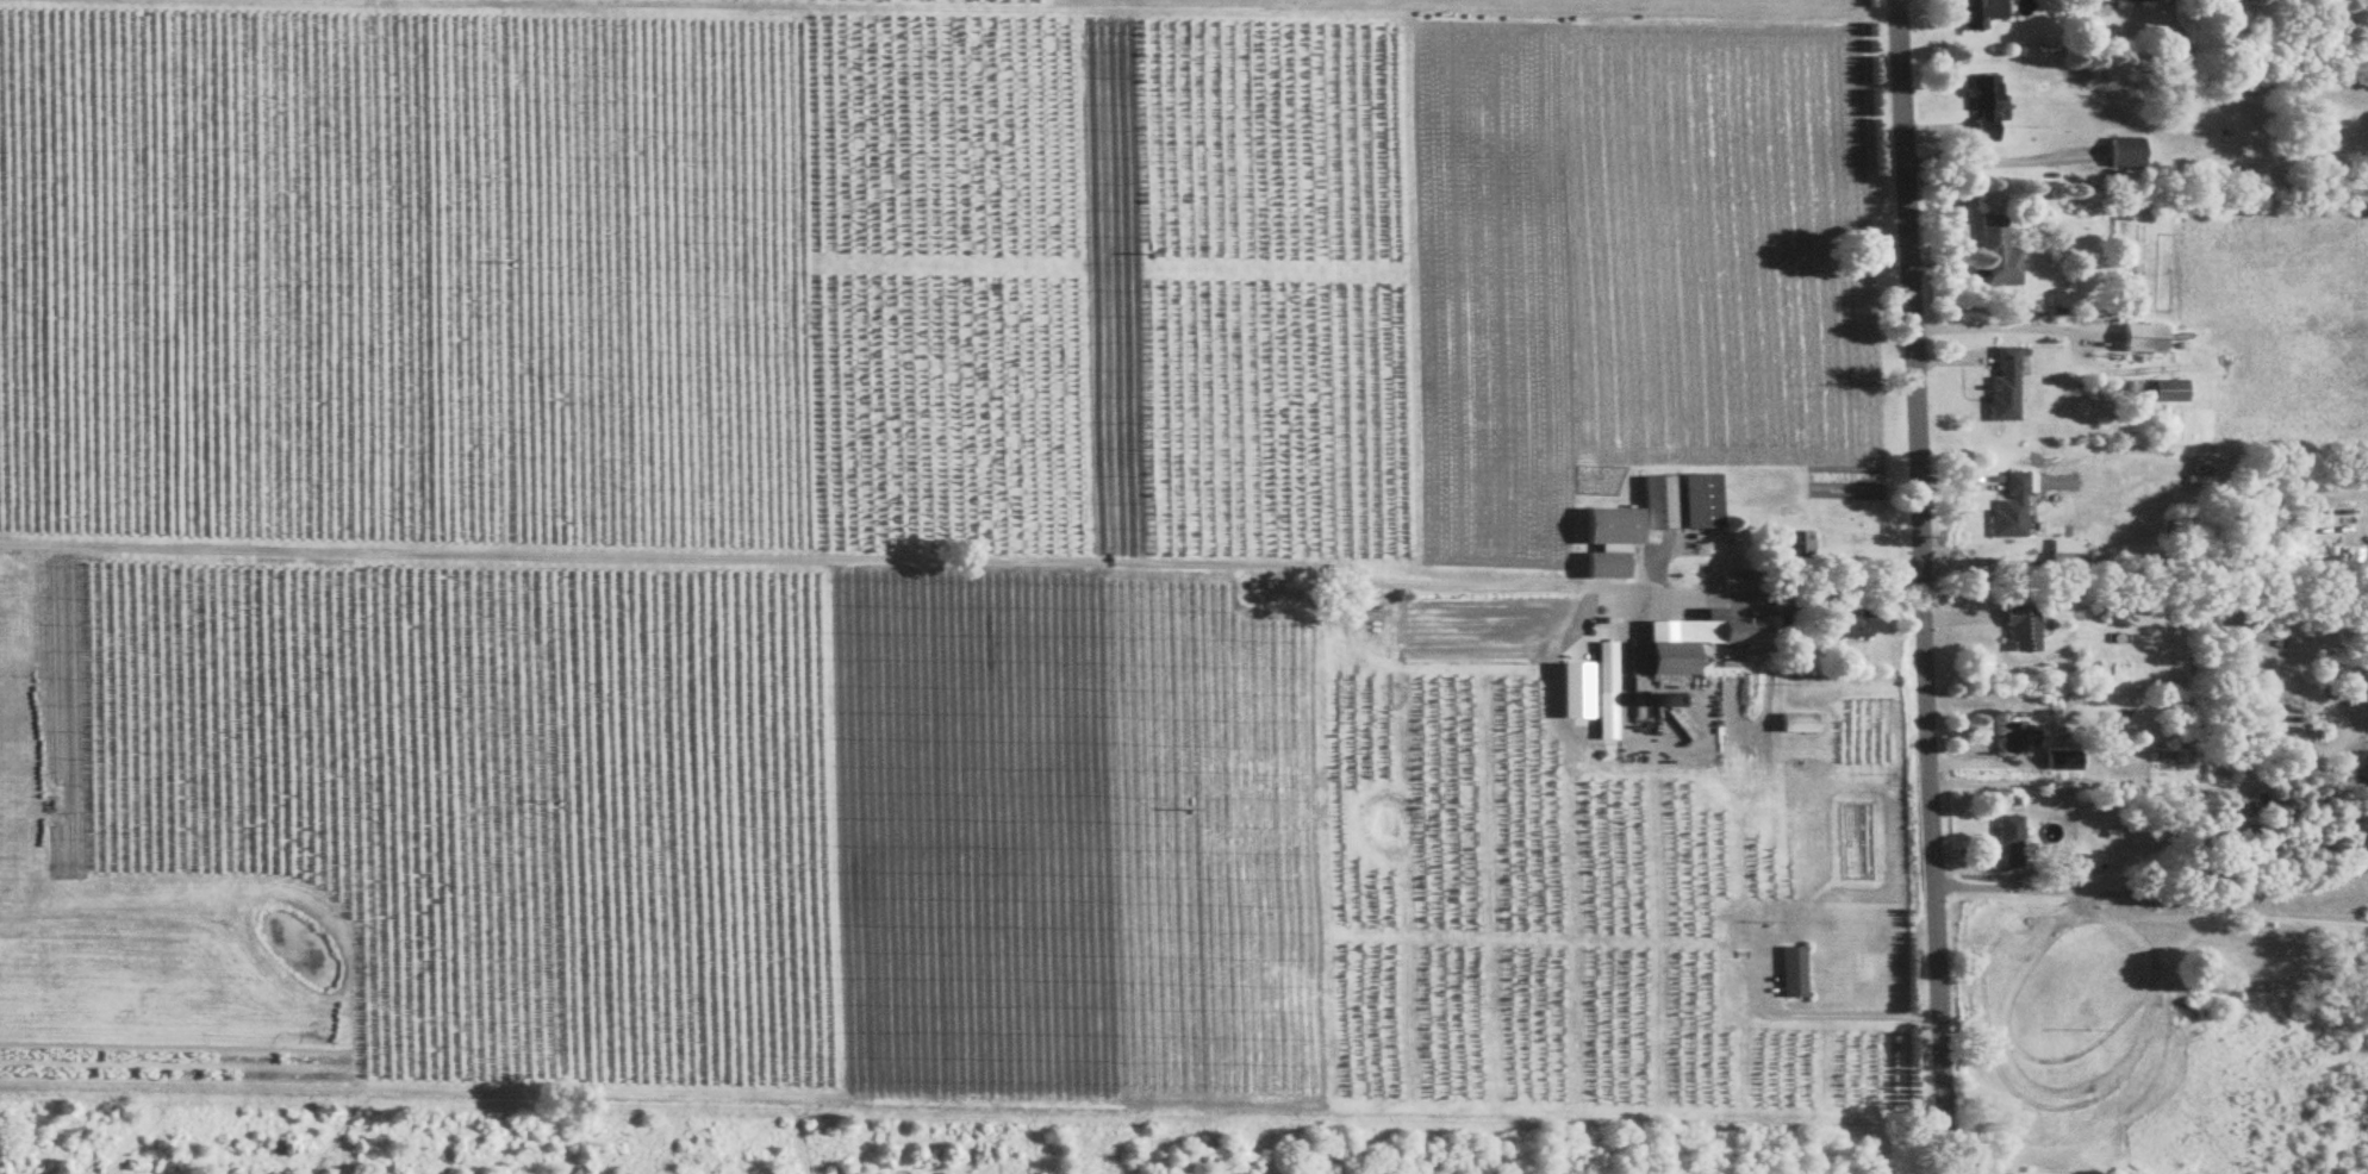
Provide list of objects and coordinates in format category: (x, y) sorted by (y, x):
building: (2130, 1)
building: (1977, 13)
building: (1982, 111)
building: (2121, 154)
building: (1994, 256)
building: (2138, 341)
building: (2000, 388)
building: (2166, 393)
building: (1693, 504)
building: (1653, 505)
building: (2007, 507)
building: (1602, 544)
crop: (930, 558)
building: (2059, 561)
road: (789, 562)
building: (1733, 583)
road: (1920, 586)
road: (1747, 605)
building: (1838, 626)
building: (2017, 631)
building: (1685, 644)
building: (1601, 693)
building: (1675, 720)
building: (1793, 725)
building: (2014, 739)
building: (2058, 763)
building: (2005, 843)
road: (2151, 895)
building: (1788, 974)
road: (1828, 1017)

